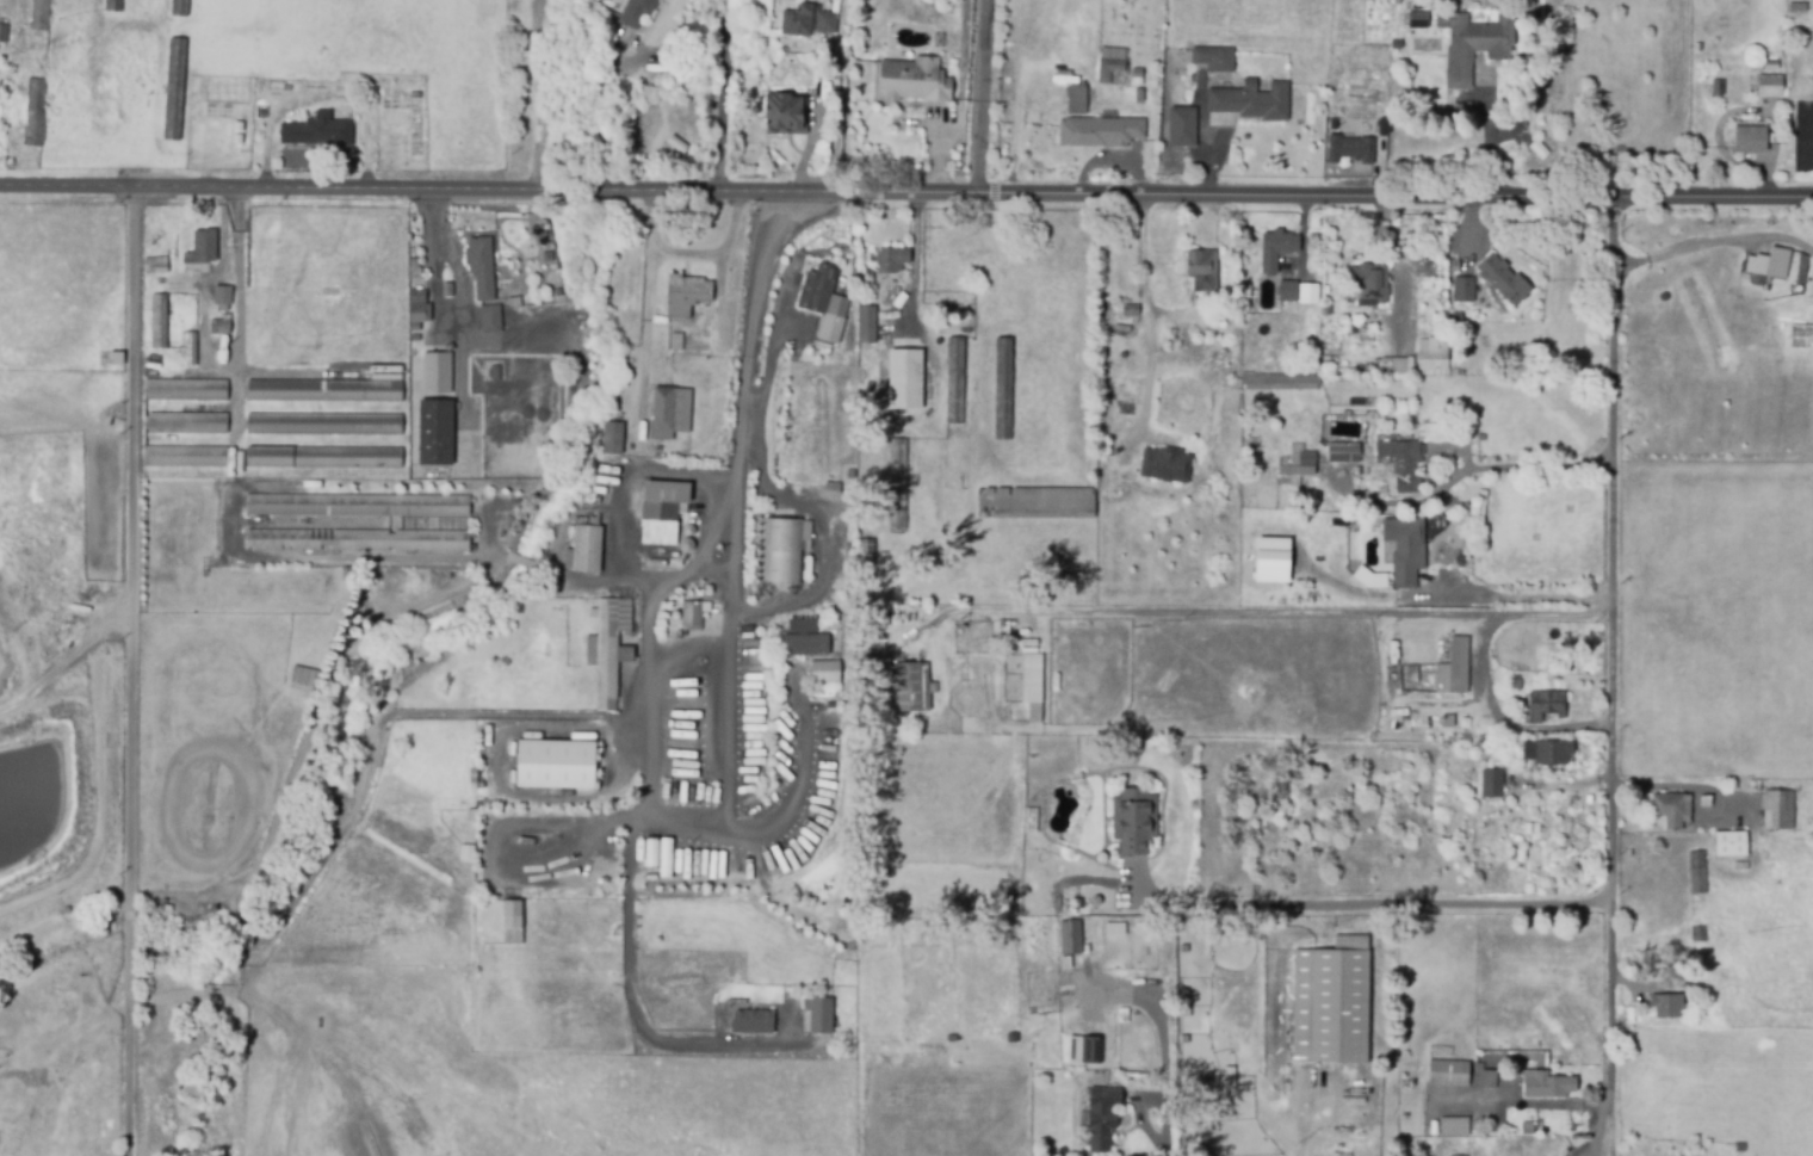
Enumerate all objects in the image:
building: (112, 4)
building: (1801, 7)
building: (179, 8)
building: (636, 12)
building: (39, 14)
building: (806, 19)
building: (1418, 19)
building: (4, 33)
building: (1474, 43)
building: (1214, 57)
building: (756, 61)
road: (534, 62)
building: (1770, 64)
building: (1109, 69)
building: (915, 81)
road: (588, 82)
building: (1765, 85)
building: (174, 91)
road: (717, 97)
road: (837, 98)
road: (980, 98)
road: (955, 99)
building: (1081, 100)
building: (1251, 101)
building: (32, 113)
building: (782, 113)
building: (1334, 124)
building: (1183, 125)
building: (1381, 125)
building: (1103, 131)
building: (317, 132)
road: (1486, 137)
building: (1750, 138)
building: (675, 143)
building: (1354, 147)
building: (1541, 152)
road: (536, 157)
road: (905, 196)
road: (1713, 241)
building: (1277, 247)
building: (203, 248)
road: (714, 253)
road: (914, 261)
building: (1768, 262)
building: (154, 266)
building: (481, 267)
building: (1203, 268)
building: (415, 270)
building: (885, 272)
road: (1398, 276)
building: (1504, 278)
building: (1370, 283)
building: (1464, 289)
building: (448, 291)
building: (1288, 291)
building: (1302, 291)
building: (822, 293)
building: (685, 295)
building: (222, 297)
building: (514, 303)
building: (416, 305)
building: (1131, 310)
road: (204, 315)
road: (236, 315)
building: (490, 319)
building: (868, 319)
building: (156, 321)
road: (646, 321)
building: (218, 328)
road: (1146, 330)
road: (516, 340)
building: (676, 342)
building: (190, 350)
building: (1433, 356)
building: (113, 360)
building: (1393, 365)
building: (905, 376)
building: (1280, 381)
building: (954, 382)
building: (1003, 390)
building: (322, 391)
building: (185, 392)
building: (435, 414)
building: (668, 414)
building: (184, 425)
building: (323, 426)
road: (460, 437)
building: (611, 438)
building: (1343, 452)
building: (184, 458)
building: (323, 459)
building: (1403, 462)
building: (1294, 463)
building: (1165, 464)
road: (1461, 471)
building: (898, 488)
building: (1037, 503)
building: (355, 506)
building: (660, 520)
building: (358, 542)
building: (1405, 548)
building: (586, 550)
building: (781, 550)
road: (839, 554)
building: (1270, 560)
road: (1510, 600)
road: (1257, 611)
road: (1610, 614)
building: (692, 618)
building: (805, 645)
building: (608, 648)
road: (732, 664)
building: (1454, 668)
road: (140, 672)
building: (823, 672)
building: (1032, 685)
road: (689, 686)
building: (911, 687)
building: (301, 692)
building: (1547, 704)
road: (549, 718)
road: (1499, 718)
building: (1448, 721)
building: (1481, 746)
building: (1548, 750)
building: (555, 766)
building: (474, 777)
building: (1493, 783)
road: (279, 797)
building: (1707, 799)
building: (1672, 808)
building: (1778, 809)
building: (471, 817)
building: (488, 820)
building: (1134, 820)
building: (1732, 842)
building: (466, 854)
building: (1515, 859)
building: (1697, 872)
road: (1374, 904)
building: (512, 916)
building: (1700, 933)
building: (1069, 936)
building: (1331, 1002)
building: (1669, 1004)
building: (816, 1015)
building: (751, 1021)
building: (1083, 1049)
building: (1449, 1072)
building: (1489, 1078)
building: (1549, 1084)
road: (1608, 1092)
road: (1532, 1104)
building: (1102, 1118)
building: (1454, 1126)
road: (1300, 1127)
building: (1528, 1127)
road: (1169, 1148)
road: (1588, 1150)

